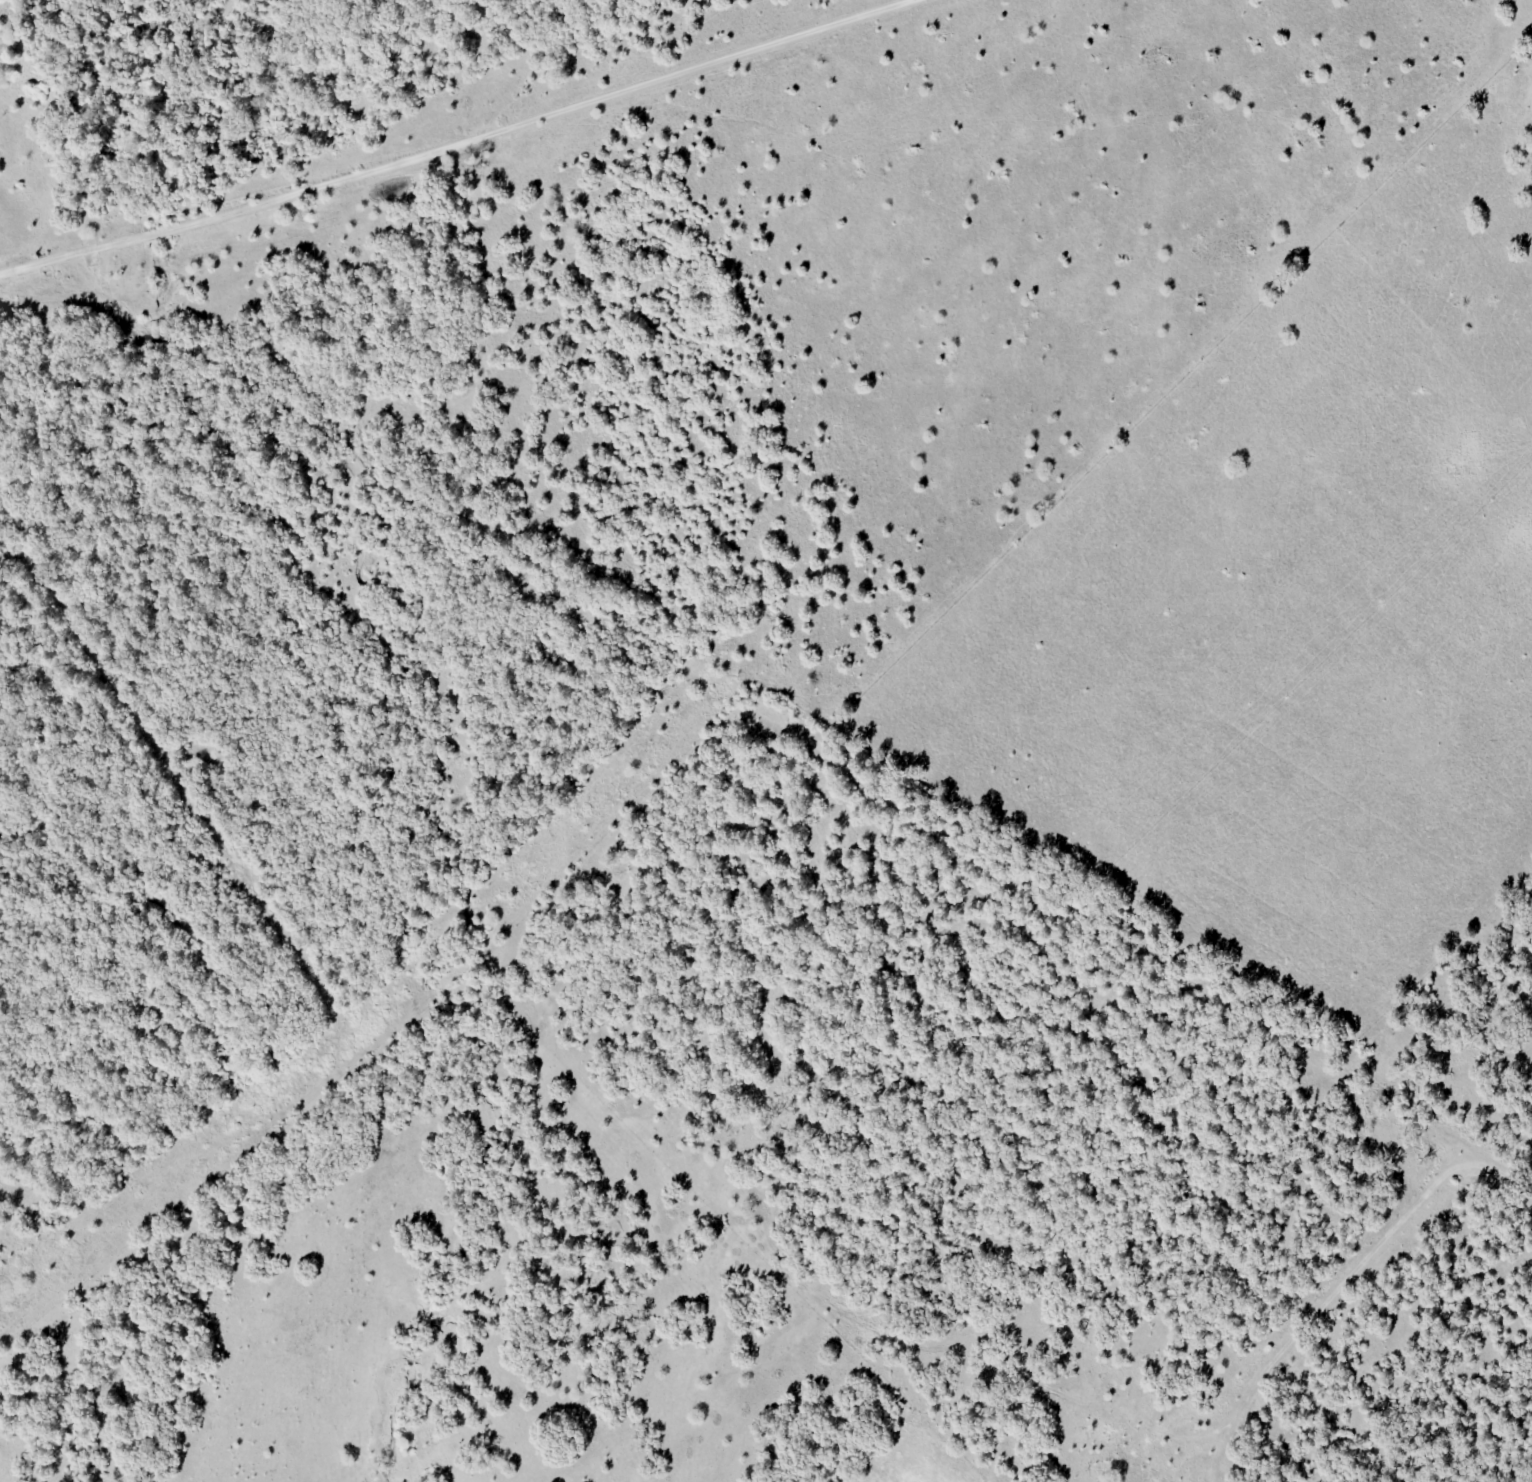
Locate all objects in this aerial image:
road: (1335, 1286)

